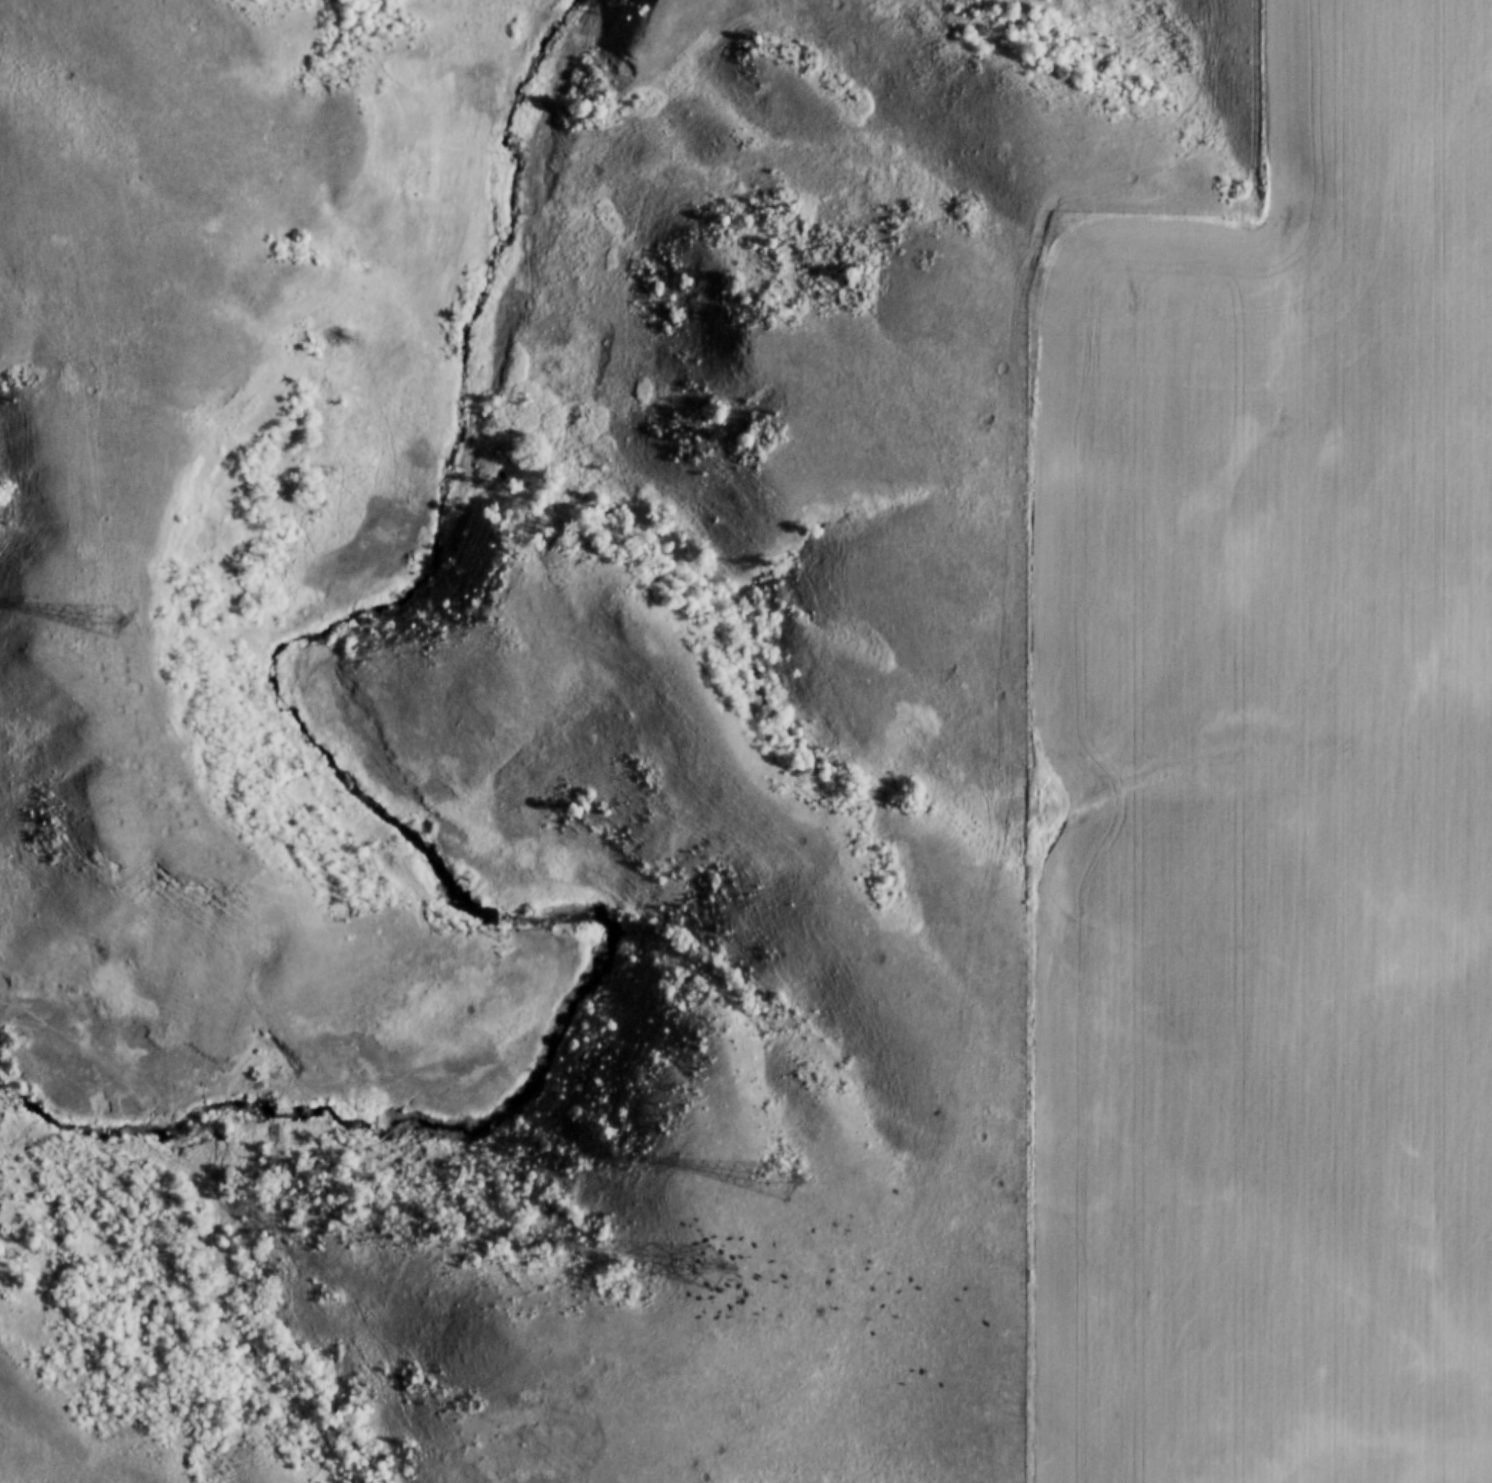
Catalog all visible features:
power tower: (97, 628)
power tower: (777, 1182)
power tower: (701, 1268)

